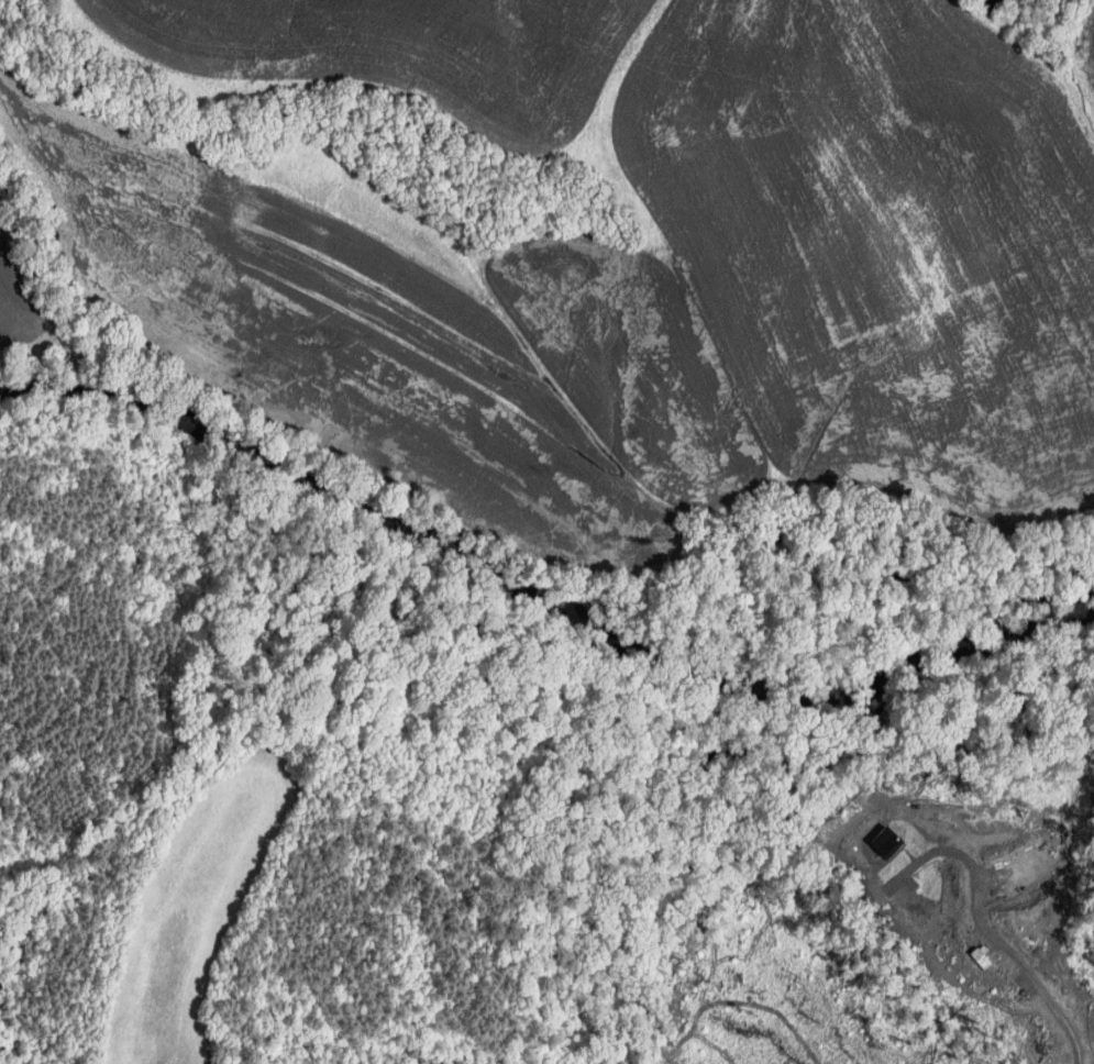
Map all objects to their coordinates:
road: (994, 934)

